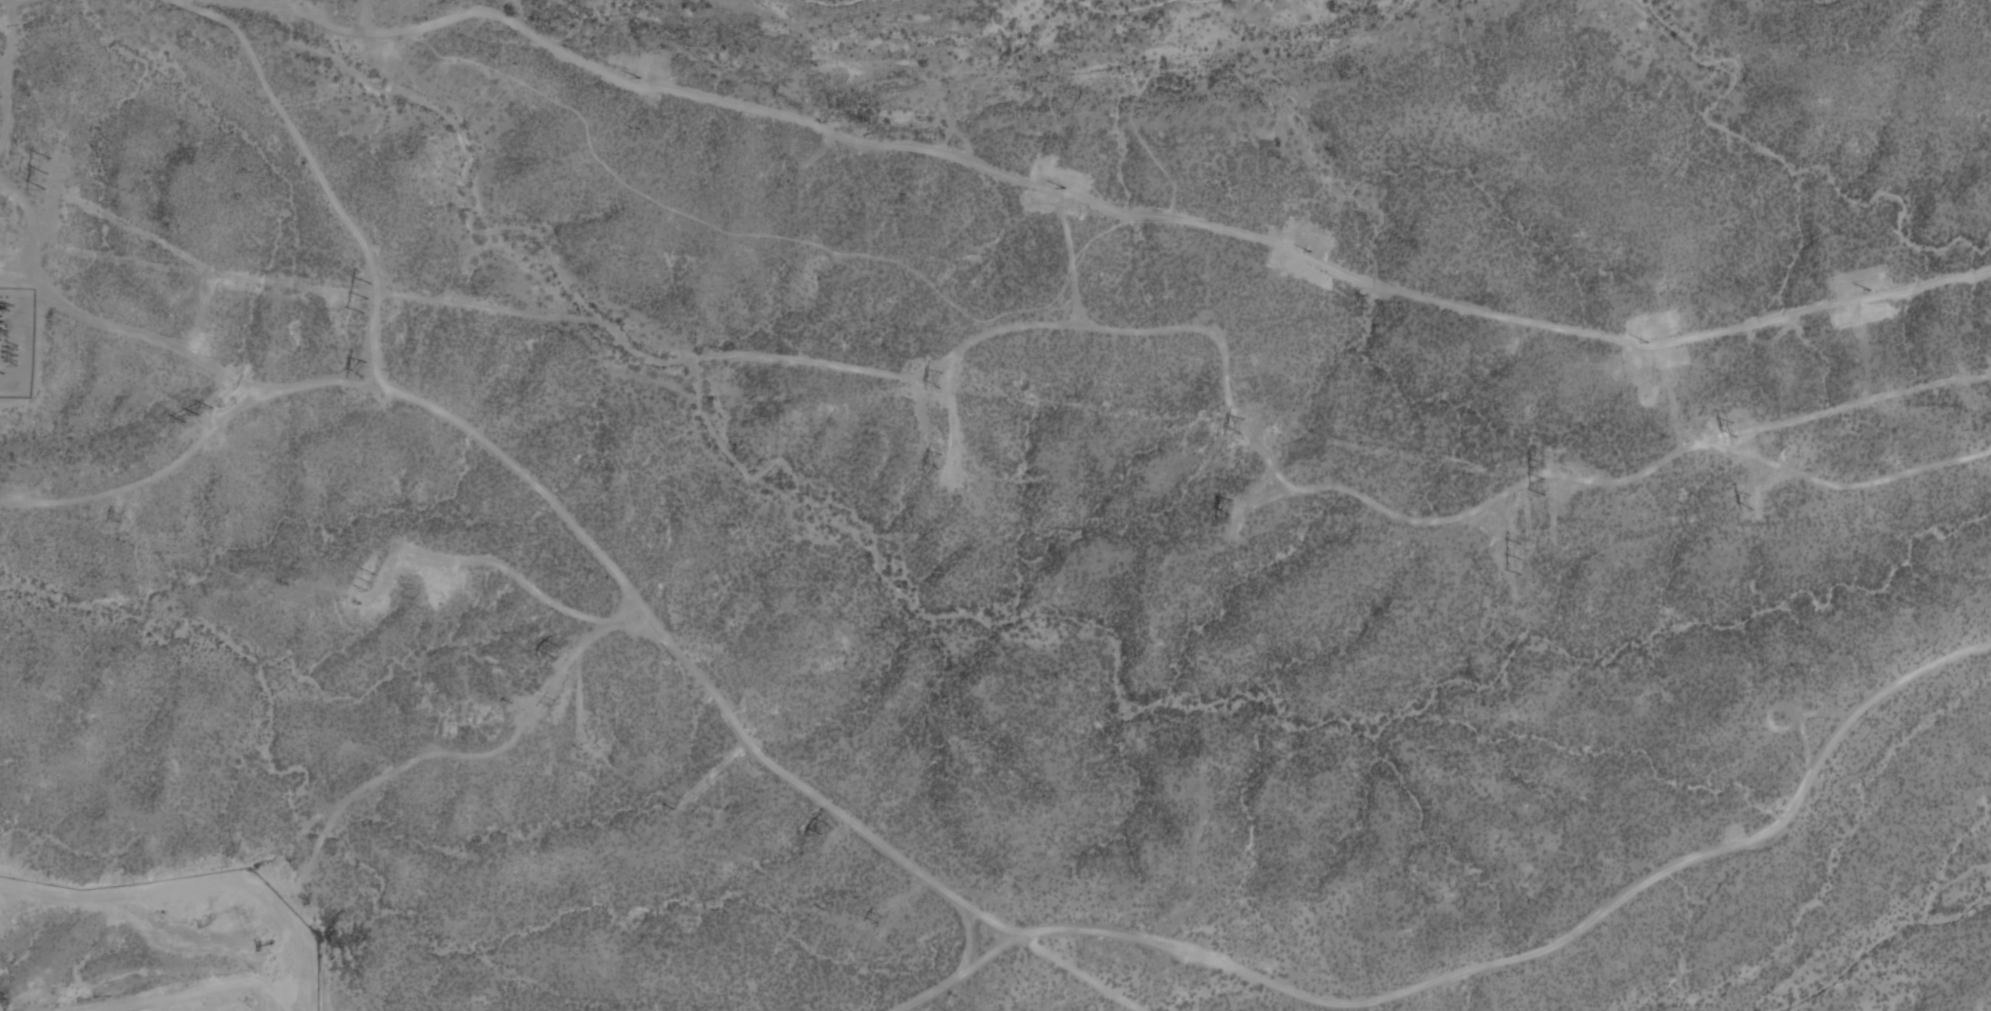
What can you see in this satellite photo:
road: (6, 70)
power tower: (636, 73)
road: (3, 80)
power tower: (47, 169)
power tower: (1061, 185)
road: (1091, 202)
power tower: (1309, 248)
road: (1071, 253)
power tower: (365, 295)
road: (477, 302)
road: (202, 311)
power tower: (1658, 337)
power substation: (15, 338)
road: (375, 338)
power tower: (364, 365)
power tower: (939, 379)
power tower: (199, 413)
road: (953, 413)
power tower: (1241, 424)
power tower: (1733, 428)
power tower: (941, 460)
power tower: (1543, 475)
road: (144, 480)
road: (1259, 497)
power tower: (1750, 503)
power tower: (1230, 504)
road: (1381, 510)
power tower: (120, 514)
road: (1507, 528)
road: (580, 533)
power tower: (1518, 554)
road: (477, 560)
power tower: (372, 580)
power tower: (556, 649)
power tower: (553, 701)
road: (712, 775)
power tower: (824, 827)
road: (836, 831)
road: (321, 840)
road: (881, 909)
power tower: (879, 919)
road: (968, 937)
road: (1479, 967)

